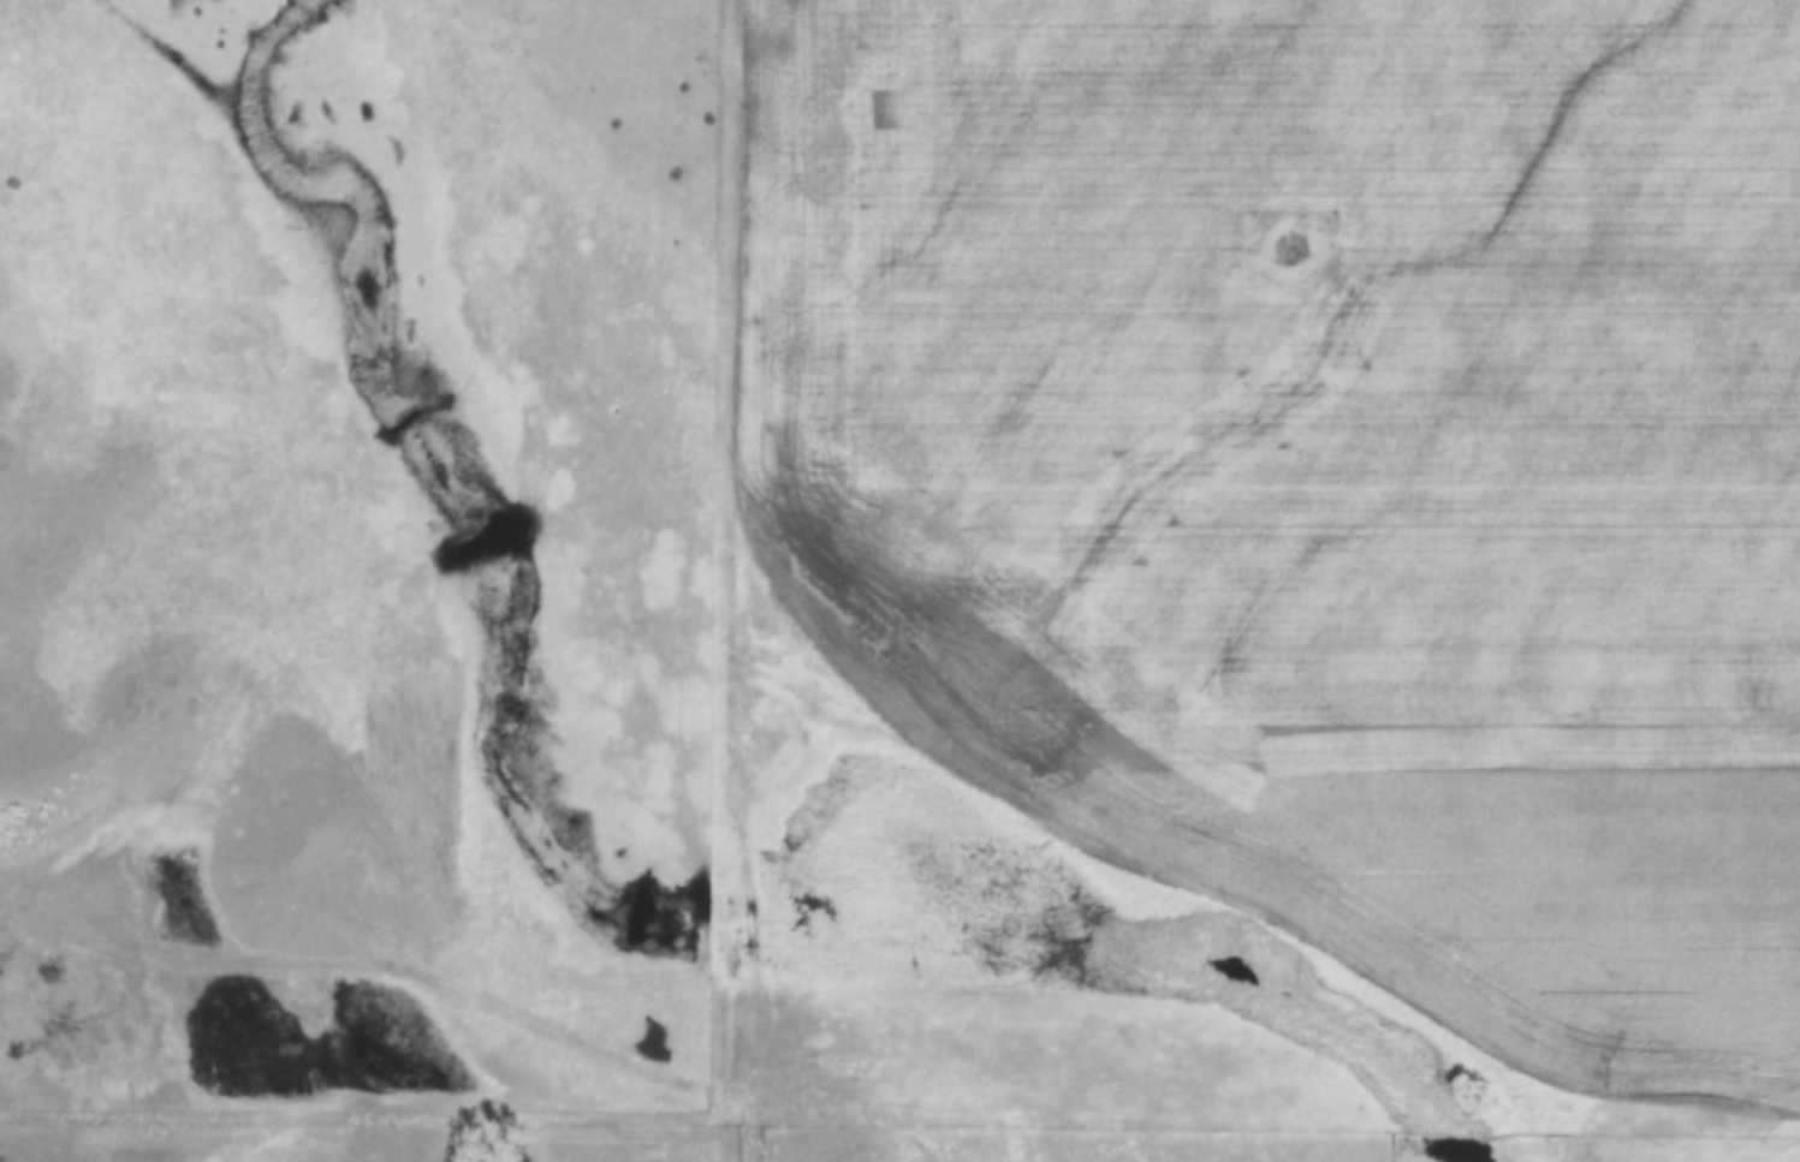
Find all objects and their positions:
road: (737, 583)

